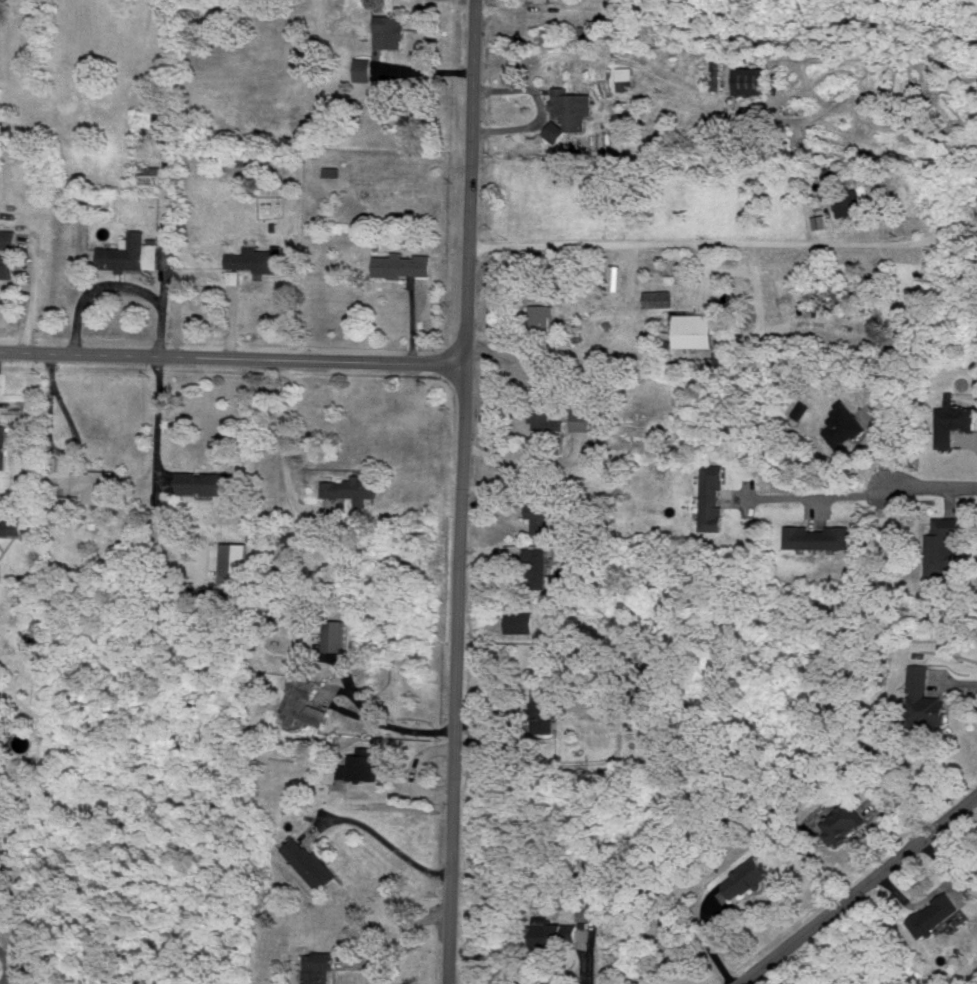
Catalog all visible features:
building: (540, 0)
building: (389, 31)
building: (363, 68)
building: (716, 69)
building: (624, 78)
building: (751, 80)
building: (572, 107)
building: (166, 123)
building: (556, 130)
building: (238, 158)
building: (151, 173)
building: (849, 201)
building: (820, 220)
building: (8, 237)
road: (726, 244)
building: (131, 253)
building: (258, 258)
building: (403, 264)
building: (8, 265)
road: (30, 302)
building: (542, 321)
building: (695, 329)
road: (235, 358)
building: (545, 416)
building: (586, 419)
building: (953, 419)
road: (161, 423)
building: (844, 424)
building: (3, 445)
road: (878, 449)
road: (290, 453)
building: (209, 482)
building: (95, 484)
road: (935, 487)
building: (352, 488)
road: (465, 492)
building: (712, 496)
road: (814, 496)
building: (64, 505)
building: (543, 513)
building: (15, 526)
building: (818, 536)
building: (943, 545)
building: (235, 561)
building: (539, 567)
building: (520, 621)
building: (336, 634)
building: (919, 677)
building: (618, 697)
building: (304, 699)
building: (544, 707)
building: (935, 709)
building: (655, 761)
building: (364, 764)
road: (390, 798)
building: (843, 822)
road: (378, 835)
building: (310, 864)
building: (748, 876)
road: (858, 890)
building: (936, 915)
building: (671, 919)
building: (555, 933)
road: (396, 944)
road: (10, 961)
building: (318, 968)

